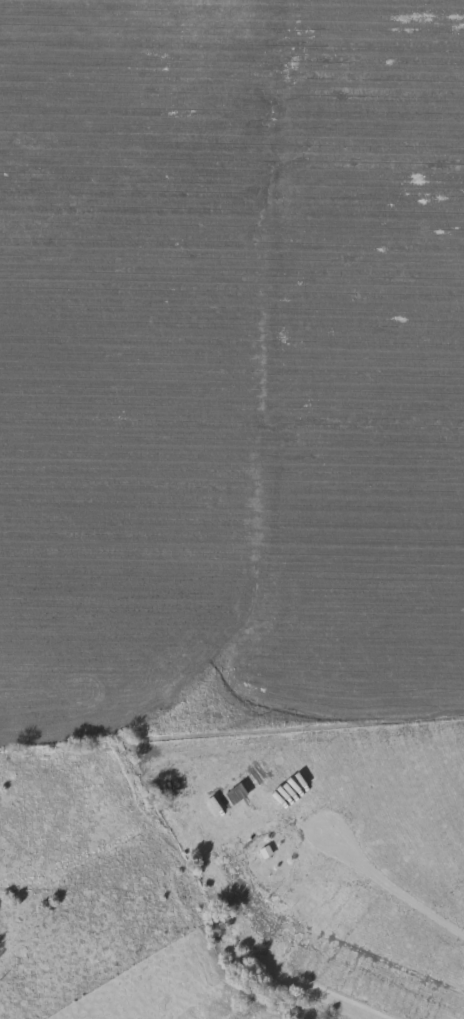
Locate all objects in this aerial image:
road: (392, 886)
road: (336, 942)

